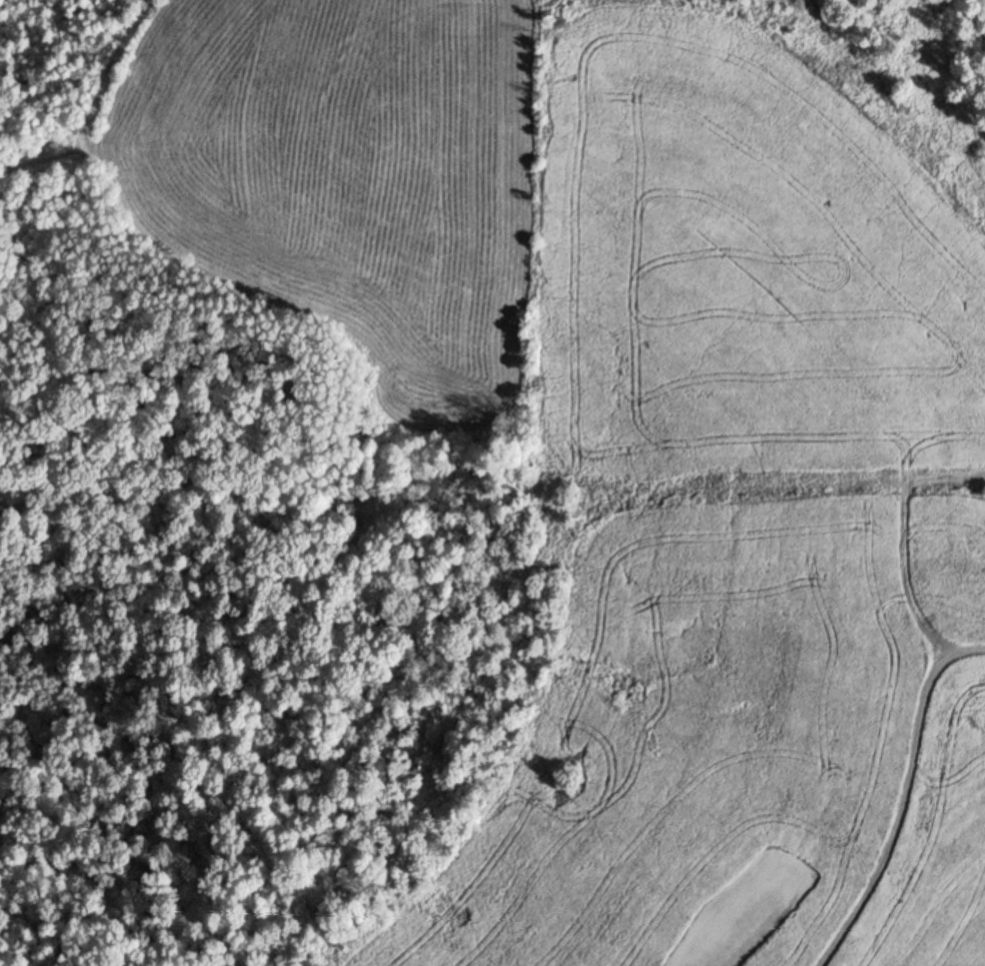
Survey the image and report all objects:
road: (905, 799)
airport runway: (768, 925)

